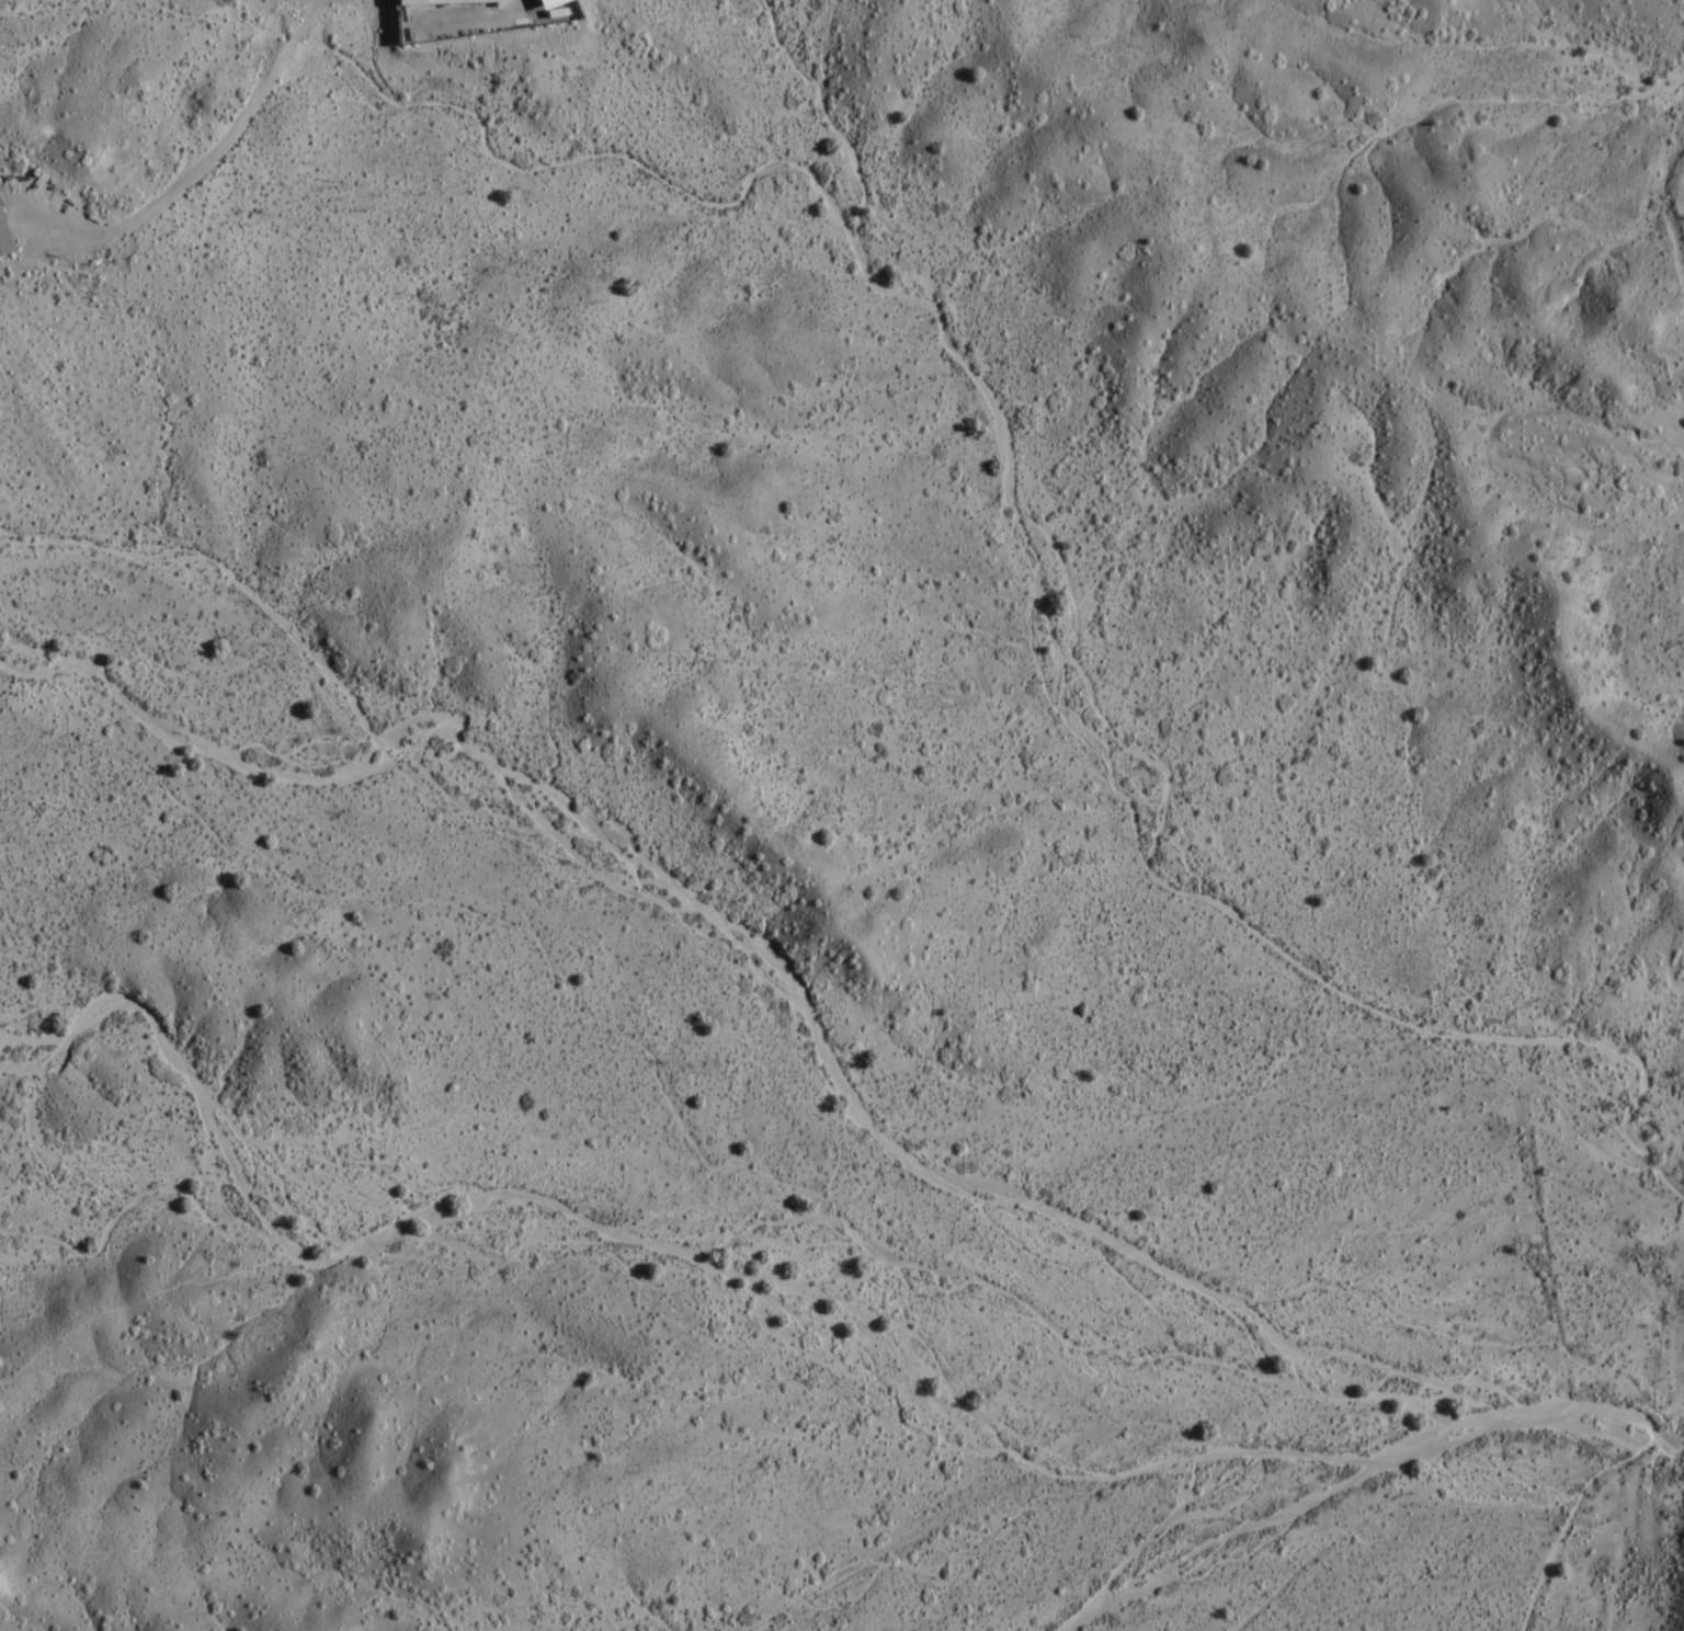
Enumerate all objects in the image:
building: (441, 1)
road: (831, 122)
road: (195, 173)
building: (4, 238)
road: (1006, 450)
road: (1387, 624)
river: (166, 731)
road: (915, 782)
road: (918, 959)
river: (873, 1126)
road: (581, 1218)
road: (297, 1259)
road: (997, 1286)
road: (135, 1301)
river: (1600, 1407)
river: (1479, 1419)
river: (1600, 1430)
river: (1254, 1525)

